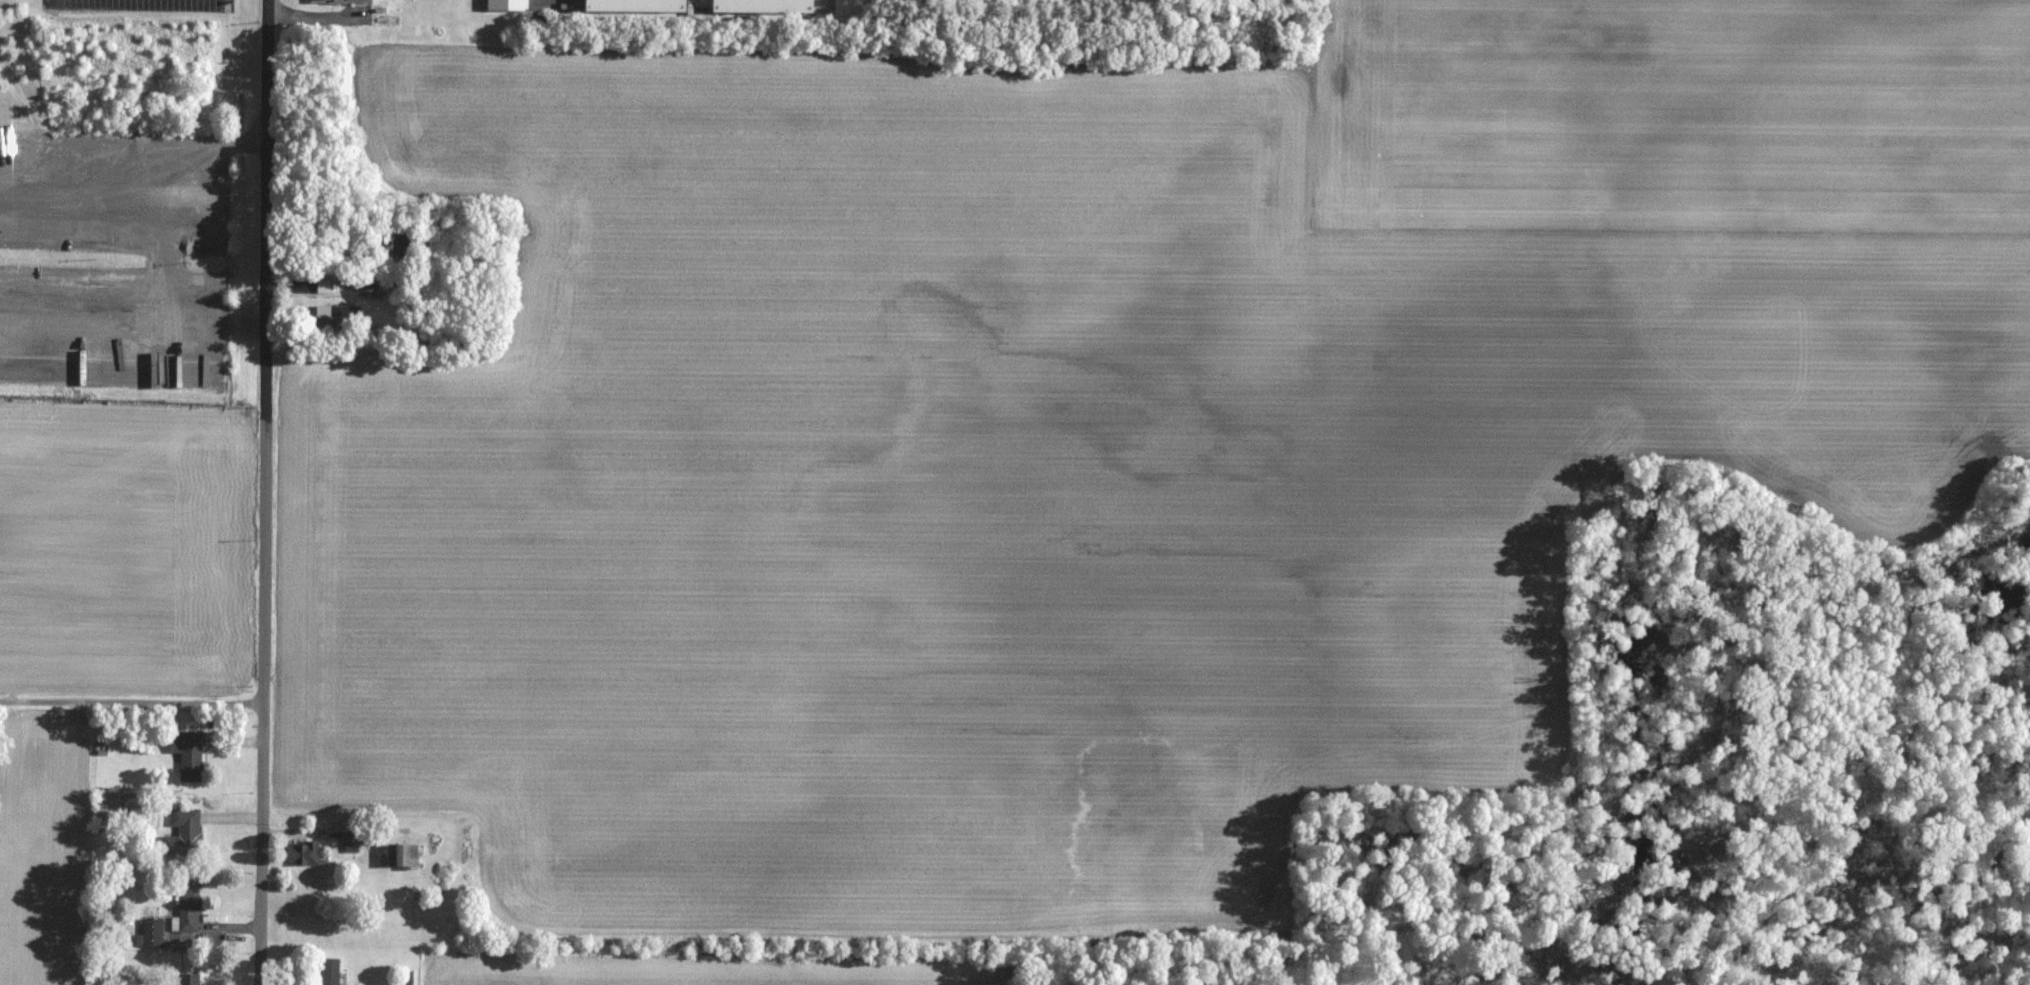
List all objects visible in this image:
building: (336, 1)
building: (634, 6)
building: (760, 6)
road: (138, 186)
building: (373, 285)
building: (335, 316)
road: (266, 352)
road: (132, 702)
building: (188, 754)
building: (105, 806)
building: (184, 833)
building: (351, 840)
road: (262, 844)
building: (305, 853)
building: (402, 856)
building: (189, 910)
building: (152, 932)
building: (330, 971)
building: (188, 979)

